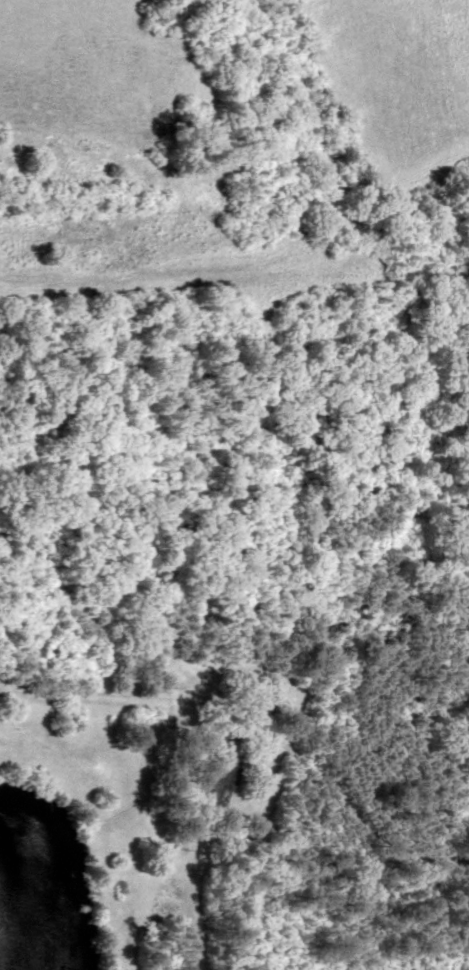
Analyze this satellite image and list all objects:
road: (337, 804)

